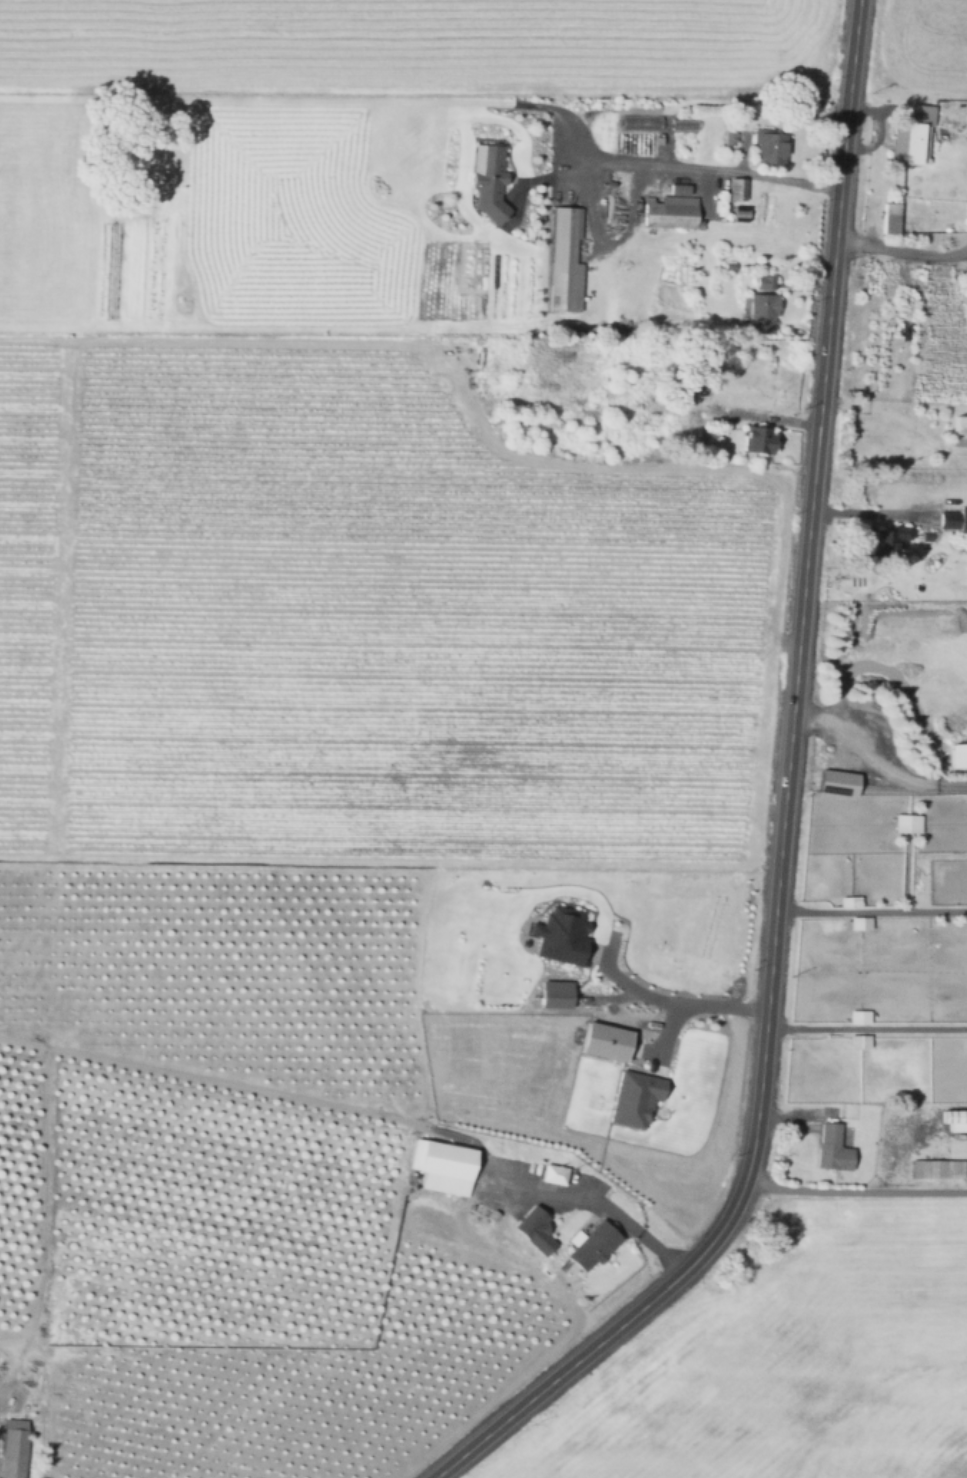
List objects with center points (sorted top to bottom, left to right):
crop: (925, 43)
road: (257, 98)
road: (560, 113)
building: (920, 116)
building: (639, 121)
road: (963, 129)
building: (731, 138)
building: (770, 144)
building: (913, 146)
road: (665, 163)
building: (486, 179)
building: (739, 188)
building: (669, 211)
crop: (43, 218)
building: (890, 223)
road: (605, 245)
road: (966, 250)
road: (901, 252)
building: (565, 261)
building: (766, 281)
building: (762, 311)
road: (740, 413)
road: (900, 413)
road: (469, 420)
building: (961, 426)
building: (760, 438)
road: (872, 514)
building: (955, 518)
building: (888, 540)
building: (957, 753)
road: (875, 762)
building: (838, 782)
road: (784, 807)
building: (904, 821)
road: (904, 874)
building: (848, 900)
road: (871, 909)
building: (858, 921)
building: (559, 934)
building: (553, 993)
road: (607, 994)
road: (663, 1000)
building: (857, 1016)
road: (867, 1026)
building: (603, 1040)
building: (858, 1040)
road: (662, 1042)
road: (260, 1092)
building: (632, 1097)
building: (954, 1122)
building: (834, 1149)
road: (896, 1151)
building: (442, 1162)
building: (936, 1171)
building: (552, 1178)
road: (855, 1188)
road: (598, 1201)
building: (532, 1228)
building: (591, 1245)
crop: (787, 1359)
building: (15, 1447)

